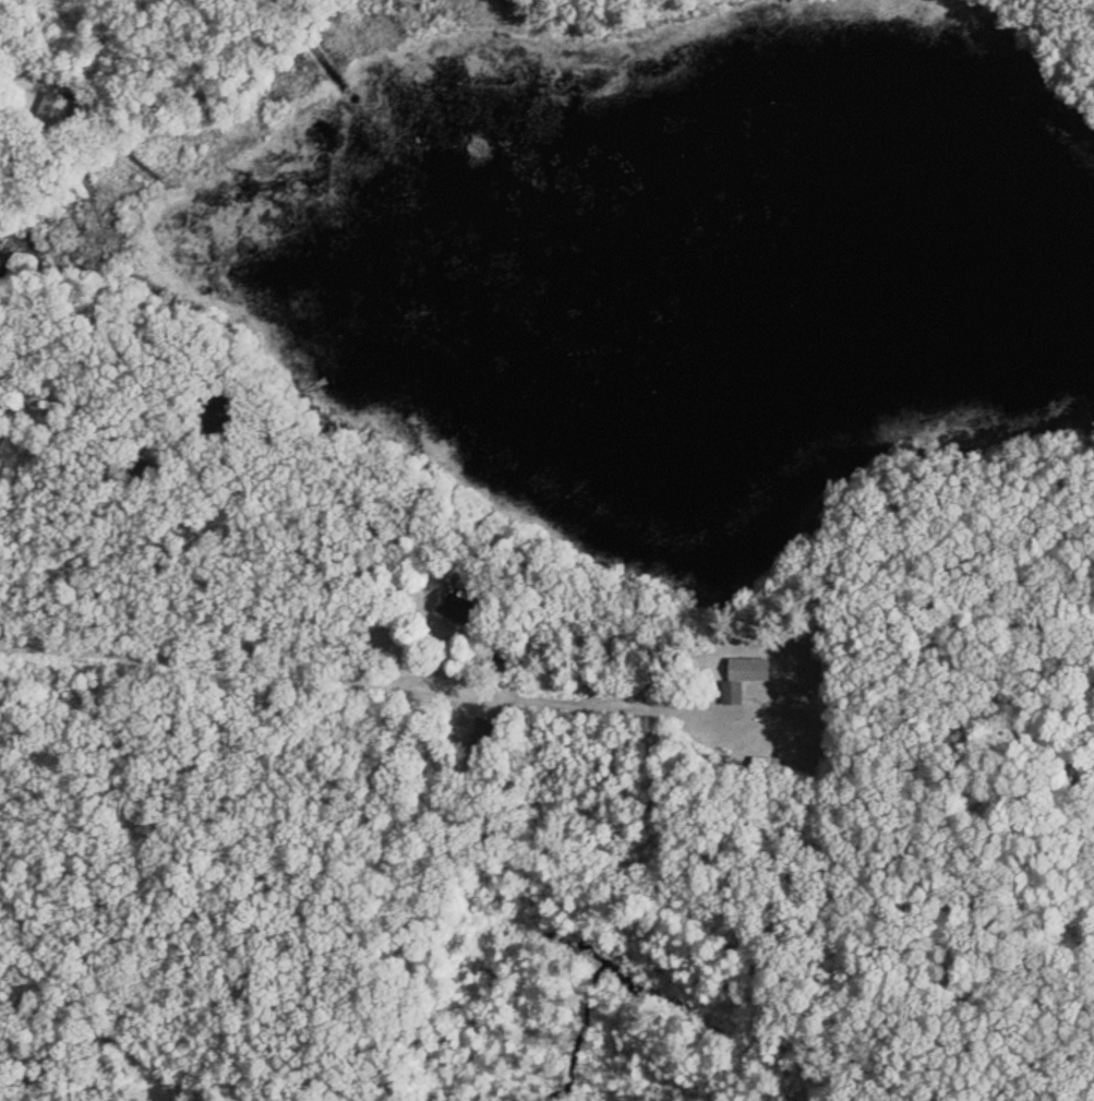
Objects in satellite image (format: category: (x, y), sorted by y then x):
road: (299, 19)
building: (452, 607)
building: (741, 677)
road: (341, 678)

